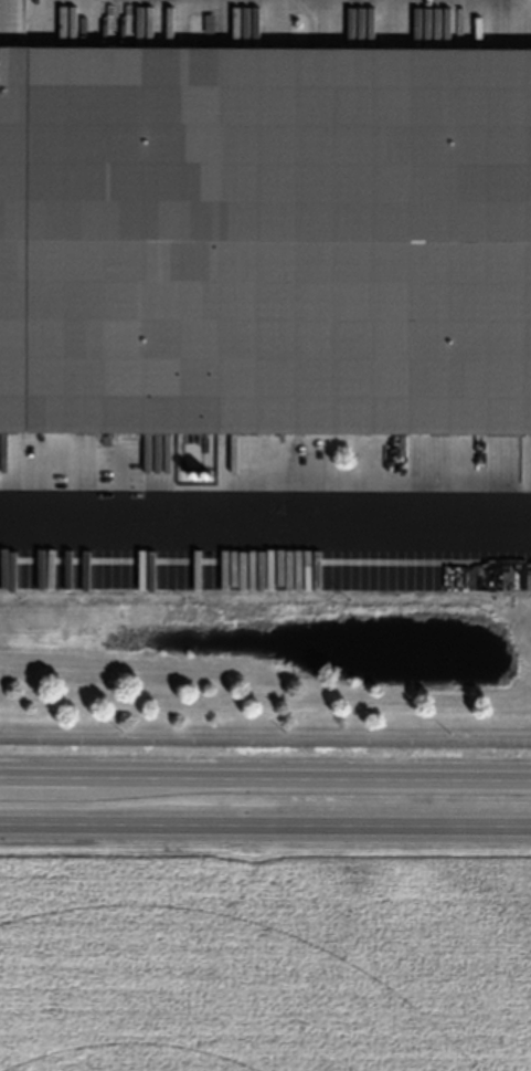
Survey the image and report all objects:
building: (265, 239)
road: (265, 524)
road: (265, 737)
road: (265, 770)
road: (265, 826)

